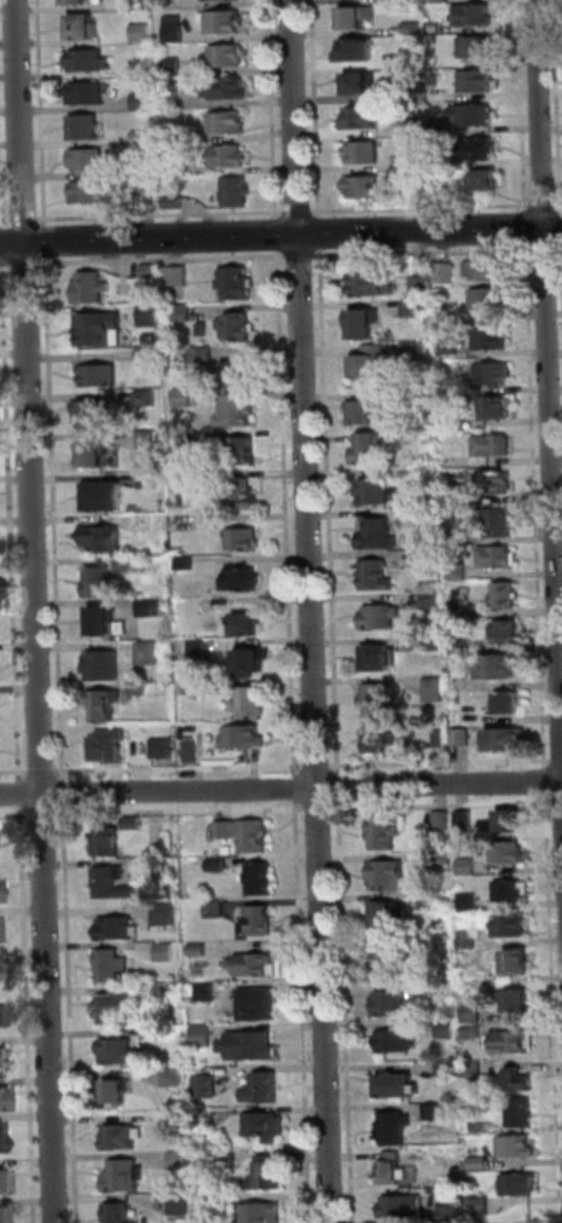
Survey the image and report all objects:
building: (442, 0)
building: (400, 1)
building: (77, 2)
building: (139, 5)
building: (477, 16)
building: (358, 18)
building: (225, 22)
building: (83, 29)
building: (176, 29)
building: (415, 29)
building: (143, 34)
building: (479, 48)
building: (358, 51)
building: (227, 56)
building: (417, 59)
building: (89, 62)
road: (560, 63)
building: (174, 68)
building: (479, 82)
building: (360, 85)
building: (228, 90)
building: (88, 94)
building: (441, 96)
building: (174, 100)
building: (145, 102)
road: (274, 109)
road: (42, 113)
building: (476, 116)
building: (364, 119)
building: (228, 123)
building: (416, 127)
building: (86, 128)
building: (175, 137)
building: (143, 138)
building: (480, 150)
building: (363, 154)
building: (231, 157)
building: (92, 161)
building: (417, 161)
building: (174, 167)
building: (138, 171)
building: (487, 183)
building: (365, 189)
building: (147, 190)
building: (423, 191)
building: (238, 192)
building: (92, 194)
building: (176, 203)
road: (552, 204)
road: (561, 204)
road: (294, 212)
road: (163, 214)
road: (33, 220)
road: (279, 235)
road: (280, 235)
road: (529, 236)
road: (47, 241)
road: (324, 241)
road: (547, 248)
road: (561, 248)
road: (5, 250)
road: (425, 252)
road: (302, 255)
road: (163, 259)
road: (25, 263)
road: (5, 264)
building: (152, 271)
building: (488, 271)
building: (447, 273)
building: (180, 276)
building: (236, 284)
building: (372, 285)
building: (424, 287)
building: (92, 288)
building: (488, 300)
building: (415, 308)
building: (184, 313)
building: (448, 315)
building: (152, 317)
building: (366, 324)
building: (237, 328)
building: (99, 329)
building: (163, 331)
building: (492, 336)
road: (550, 344)
building: (450, 347)
building: (415, 351)
building: (149, 354)
building: (205, 354)
building: (373, 363)
building: (496, 374)
building: (241, 375)
building: (102, 376)
building: (456, 386)
building: (146, 398)
building: (185, 398)
building: (424, 402)
building: (499, 409)
building: (238, 411)
building: (367, 413)
building: (92, 416)
building: (150, 440)
building: (494, 446)
building: (371, 450)
building: (244, 452)
building: (94, 455)
building: (430, 478)
building: (185, 479)
building: (150, 480)
building: (496, 484)
building: (380, 492)
building: (244, 495)
building: (105, 497)
building: (458, 498)
road: (538, 506)
building: (137, 509)
road: (331, 510)
road: (288, 513)
road: (57, 518)
road: (12, 520)
building: (431, 520)
building: (500, 523)
building: (380, 536)
building: (460, 537)
building: (105, 541)
building: (245, 541)
building: (498, 559)
building: (431, 563)
building: (187, 565)
building: (128, 566)
building: (459, 572)
building: (377, 576)
building: (243, 582)
building: (102, 583)
building: (508, 596)
building: (434, 601)
building: (151, 608)
building: (460, 610)
road: (36, 611)
road: (314, 611)
building: (382, 618)
building: (106, 623)
building: (248, 628)
building: (509, 634)
building: (435, 642)
building: (463, 646)
building: (199, 648)
building: (149, 653)
building: (380, 658)
building: (253, 663)
building: (104, 665)
building: (497, 668)
building: (215, 688)
building: (140, 690)
building: (186, 690)
building: (436, 691)
building: (380, 699)
building: (251, 703)
building: (105, 705)
building: (511, 705)
building: (244, 737)
building: (463, 738)
building: (381, 740)
building: (508, 740)
building: (110, 748)
building: (164, 748)
building: (193, 754)
road: (557, 761)
road: (442, 762)
road: (319, 766)
road: (181, 769)
road: (15, 773)
road: (44, 773)
road: (547, 783)
road: (341, 786)
road: (280, 788)
road: (299, 788)
road: (65, 794)
road: (23, 795)
road: (558, 802)
road: (445, 804)
road: (320, 808)
road: (182, 812)
road: (44, 815)
road: (15, 817)
building: (445, 820)
building: (467, 820)
building: (511, 820)
building: (135, 824)
building: (387, 833)
building: (248, 835)
building: (110, 843)
building: (509, 853)
building: (446, 859)
building: (149, 865)
building: (220, 866)
building: (469, 866)
building: (390, 875)
building: (261, 879)
building: (112, 883)
building: (512, 890)
building: (433, 901)
building: (471, 901)
building: (219, 910)
building: (168, 915)
building: (387, 917)
building: (261, 922)
building: (511, 927)
building: (120, 929)
building: (470, 939)
building: (433, 945)
building: (199, 951)
building: (167, 952)
building: (390, 960)
building: (518, 963)
building: (114, 967)
building: (255, 967)
building: (0, 971)
road: (555, 981)
building: (208, 992)
building: (168, 994)
building: (518, 1002)
building: (394, 1004)
building: (259, 1006)
building: (117, 1009)
road: (349, 1010)
road: (306, 1011)
building: (476, 1013)
building: (4, 1014)
road: (73, 1014)
road: (30, 1015)
building: (448, 1028)
building: (475, 1031)
building: (160, 1034)
building: (204, 1035)
building: (398, 1042)
building: (512, 1042)
building: (250, 1045)
building: (121, 1052)
building: (2, 1060)
building: (476, 1069)
building: (448, 1071)
building: (174, 1077)
building: (520, 1079)
building: (207, 1086)
building: (399, 1088)
building: (266, 1090)
building: (120, 1091)
building: (6, 1101)
building: (435, 1112)
building: (521, 1114)
building: (179, 1117)
building: (205, 1117)
building: (267, 1126)
building: (396, 1126)
building: (481, 1127)
building: (2, 1137)
building: (124, 1137)
building: (518, 1147)
building: (230, 1156)
building: (181, 1160)
building: (482, 1164)
building: (393, 1169)
building: (271, 1173)
building: (126, 1176)
building: (4, 1183)
building: (521, 1185)
building: (218, 1201)
building: (182, 1202)
building: (404, 1206)
building: (483, 1206)
building: (120, 1212)
building: (265, 1212)
building: (454, 1213)
building: (2, 1216)

